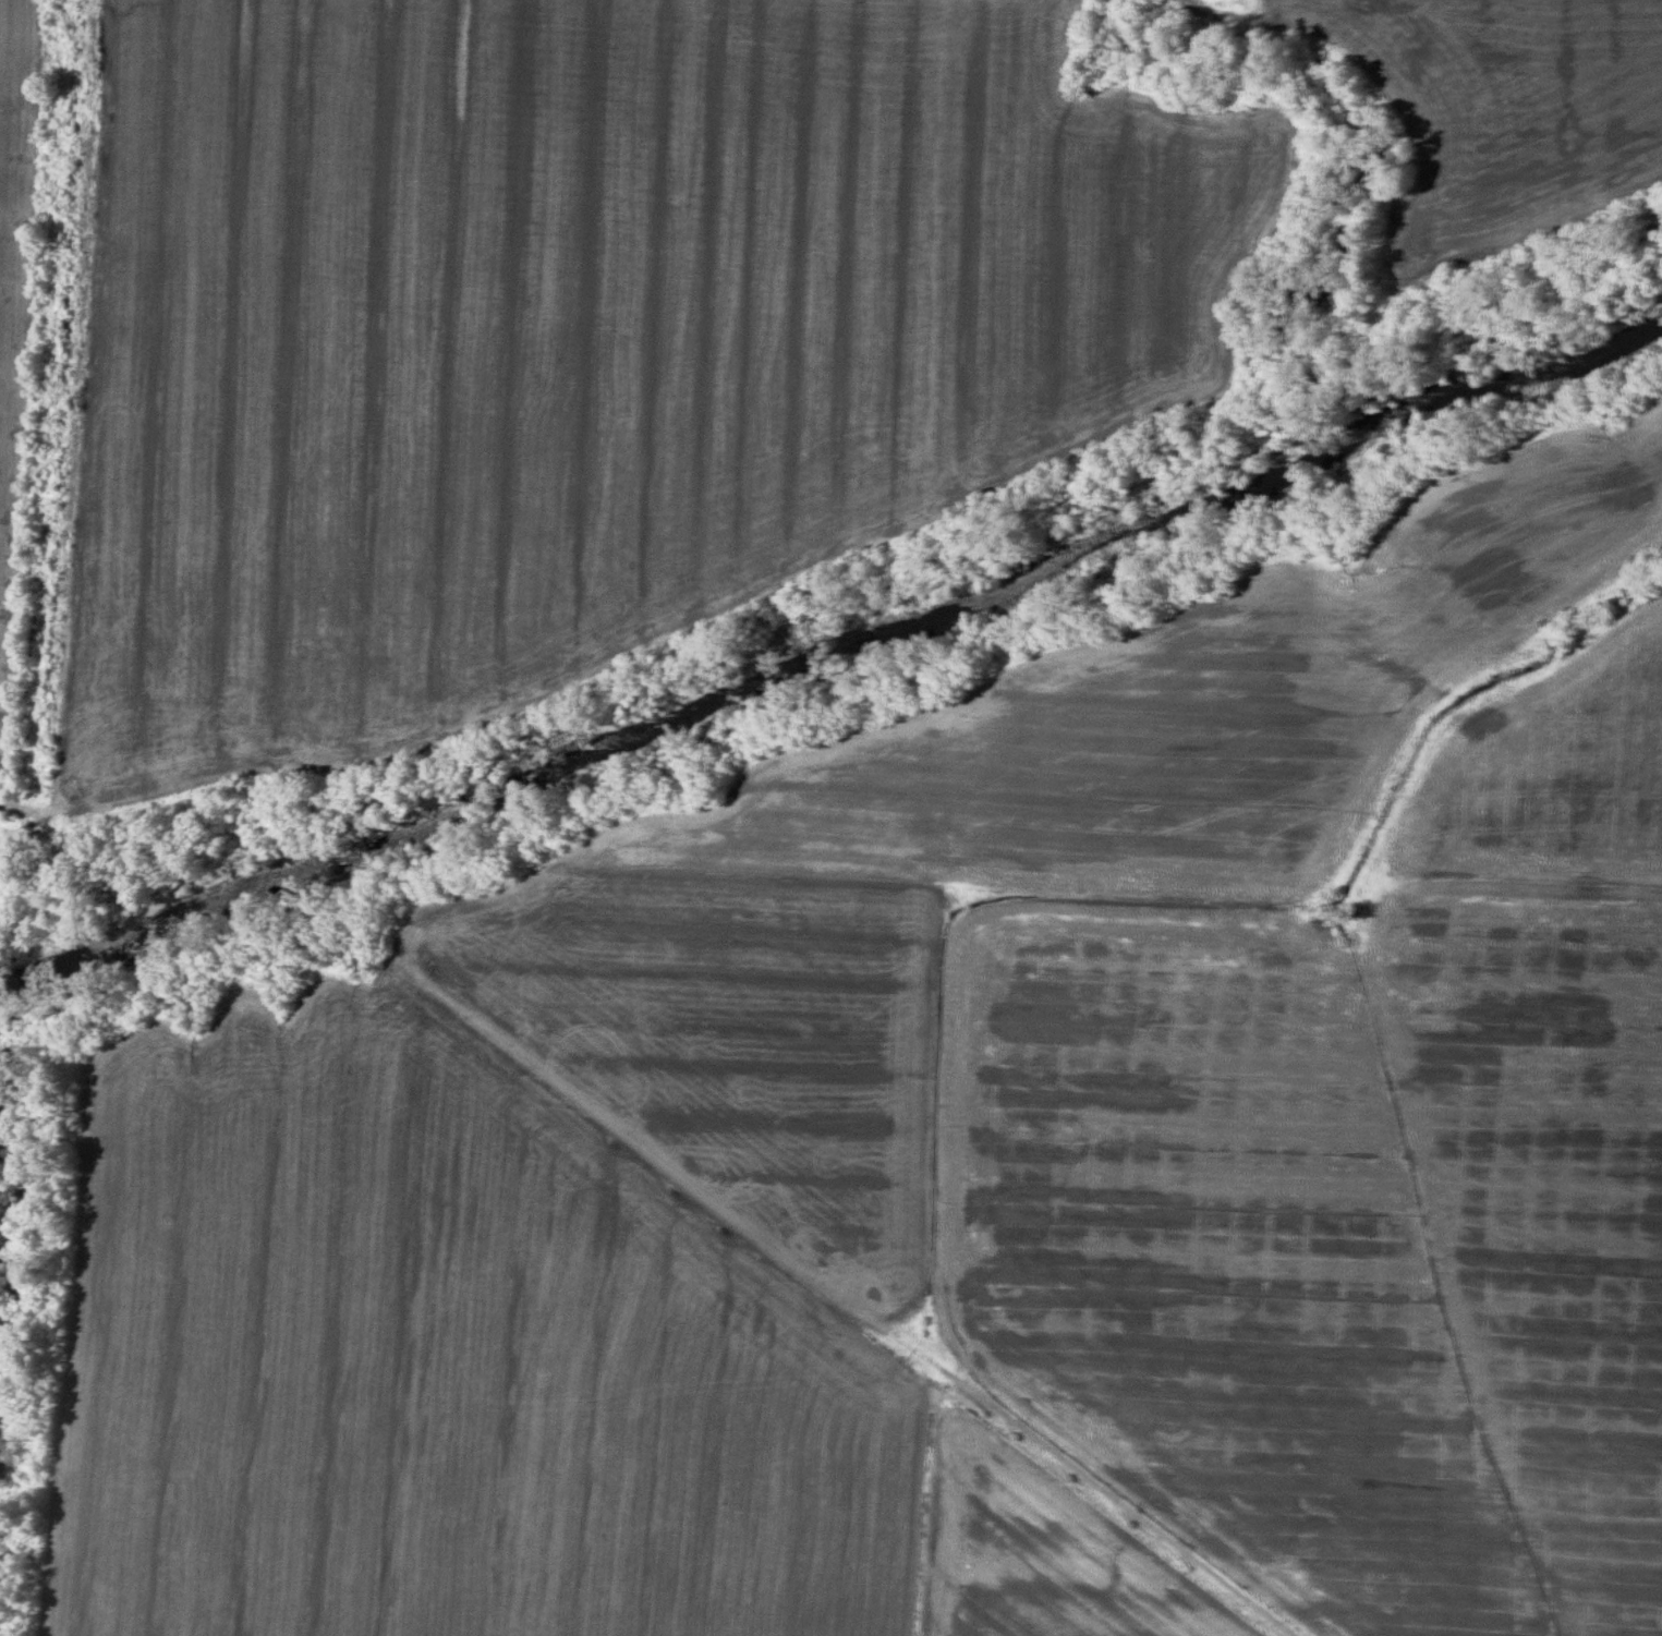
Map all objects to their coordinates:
crop: (1502, 123)
crop: (14, 319)
crop: (582, 338)
river: (830, 658)
crop: (1551, 765)
road: (4, 828)
crop: (993, 848)
crop: (3, 859)
crop: (1331, 1228)
road: (844, 1297)
crop: (436, 1355)
crop: (1042, 1551)

